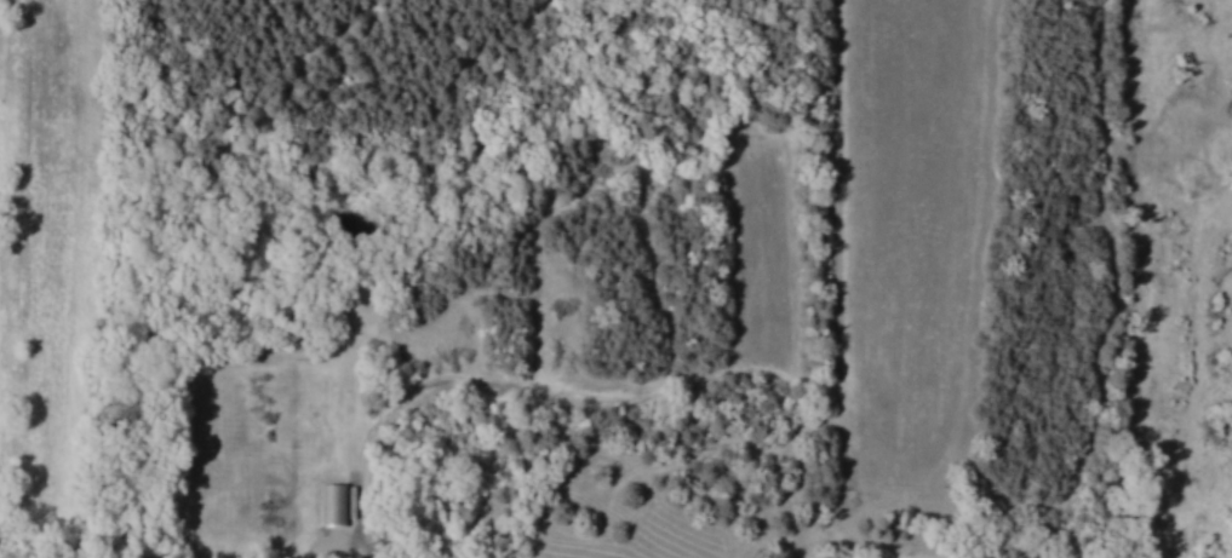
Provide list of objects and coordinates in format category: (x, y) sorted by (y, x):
building: (334, 504)
road: (336, 557)

